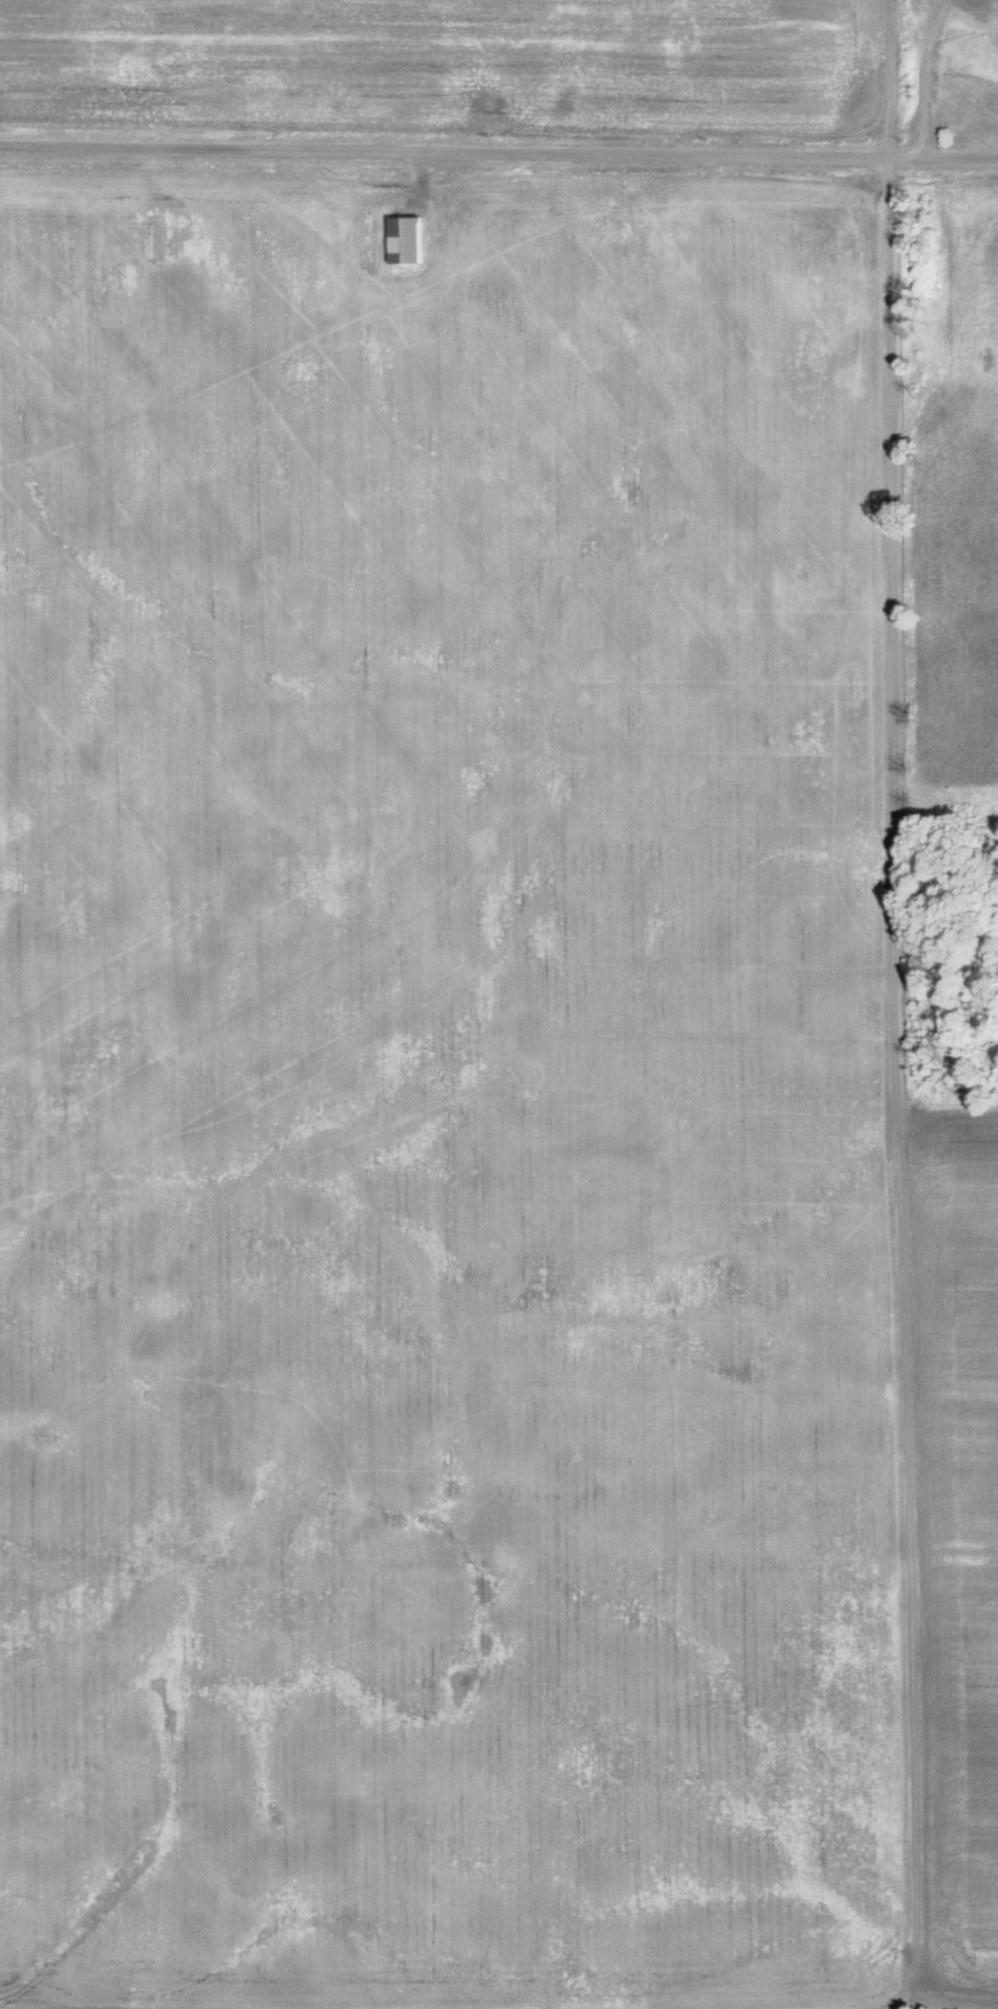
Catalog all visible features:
road: (499, 152)
building: (404, 240)
road: (950, 2007)

